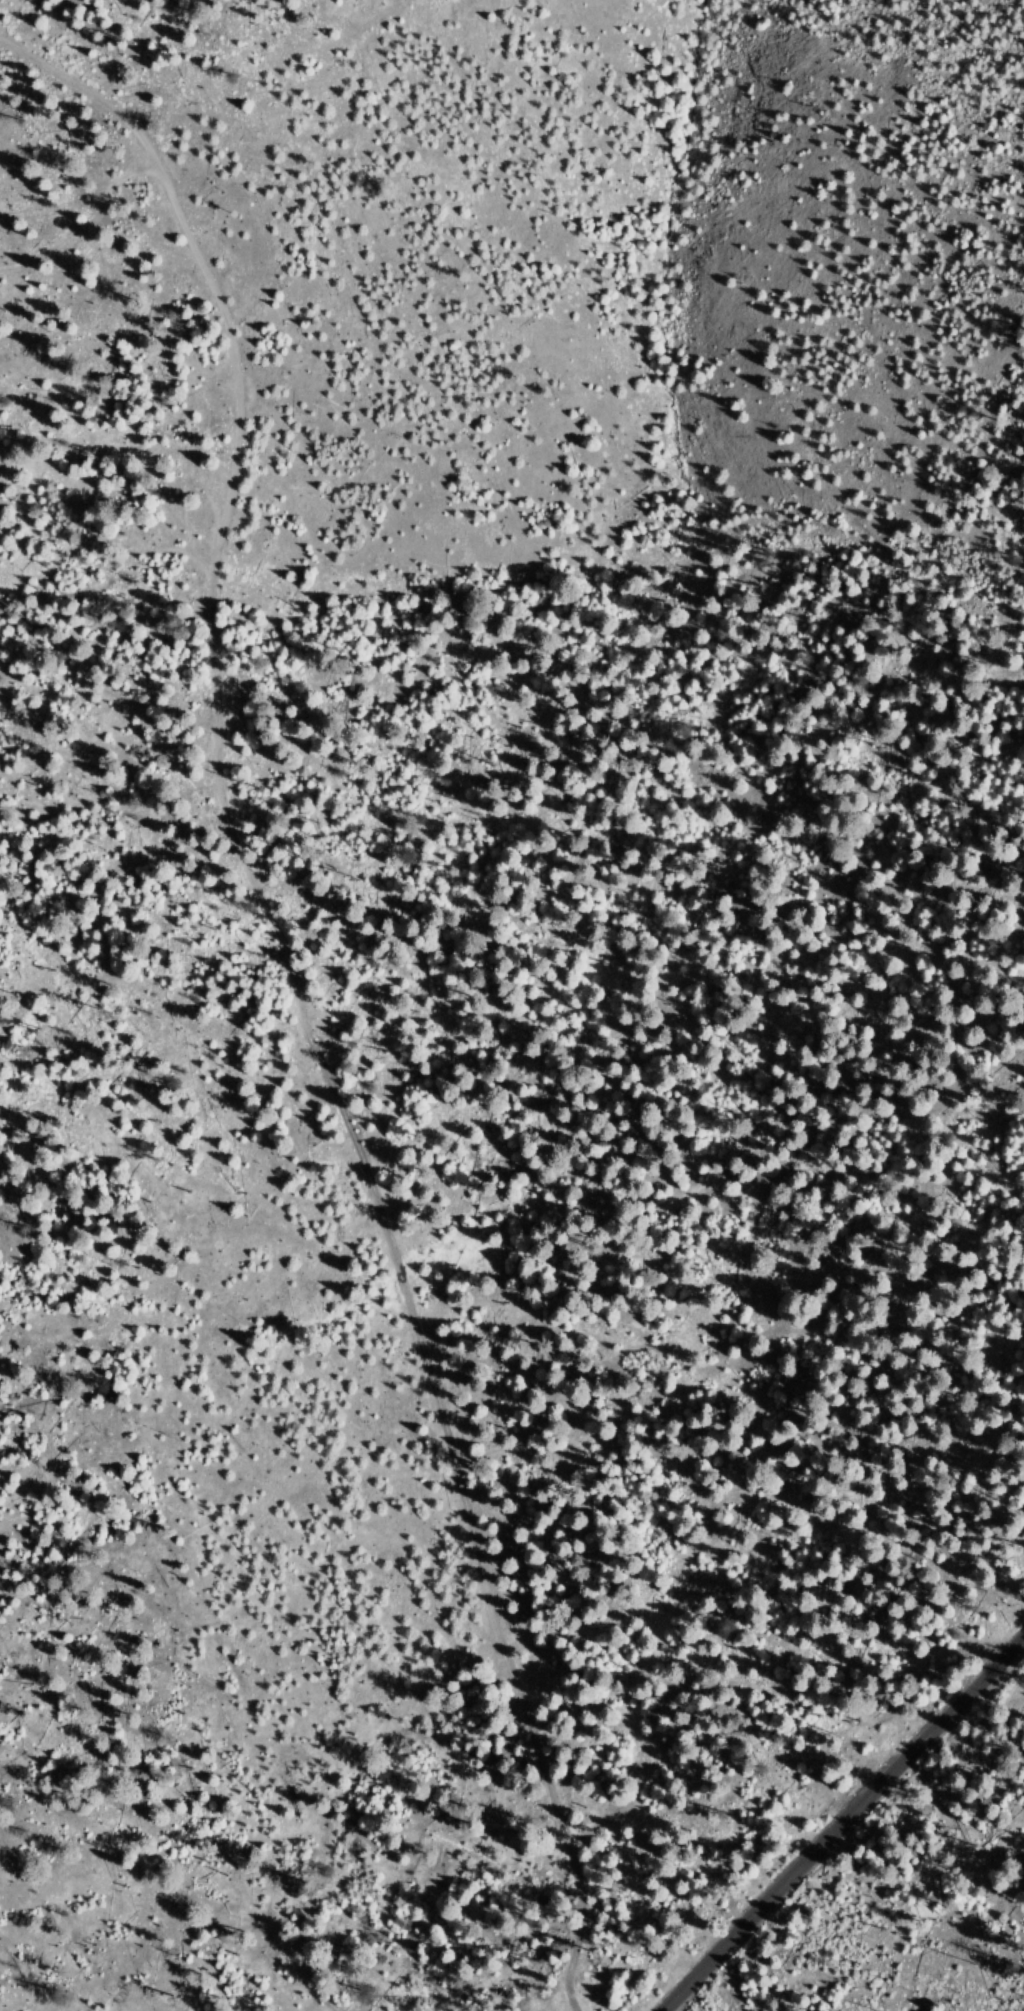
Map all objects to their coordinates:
road: (299, 991)
road: (850, 1827)

